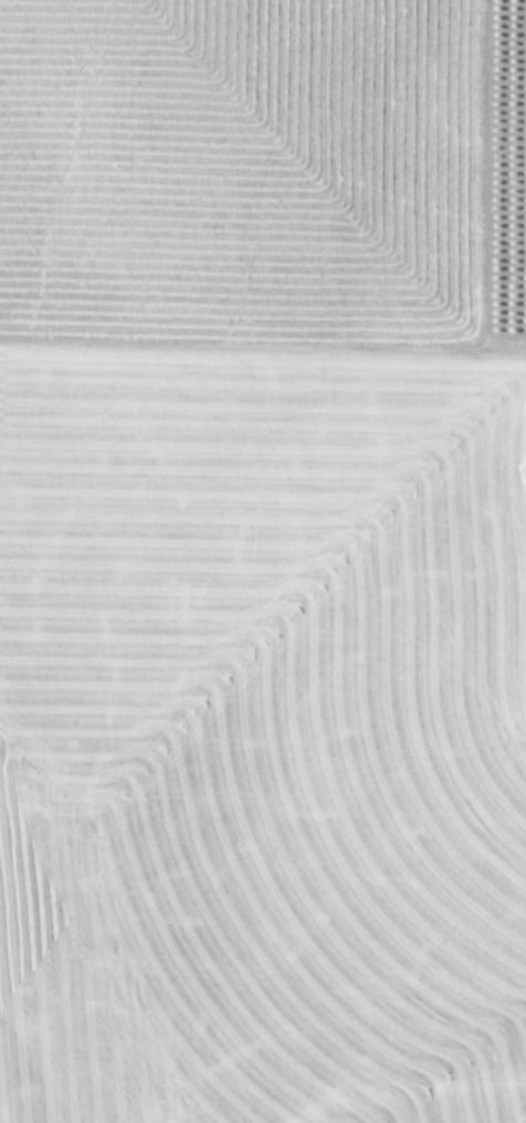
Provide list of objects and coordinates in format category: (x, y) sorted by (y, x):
crop: (263, 561)

